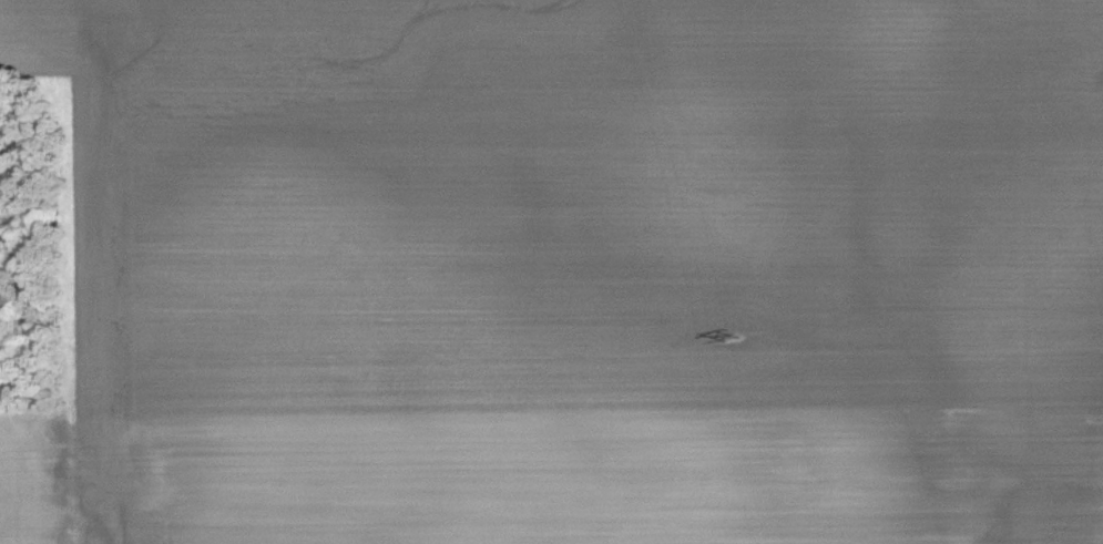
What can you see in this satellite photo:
power tower: (731, 340)

